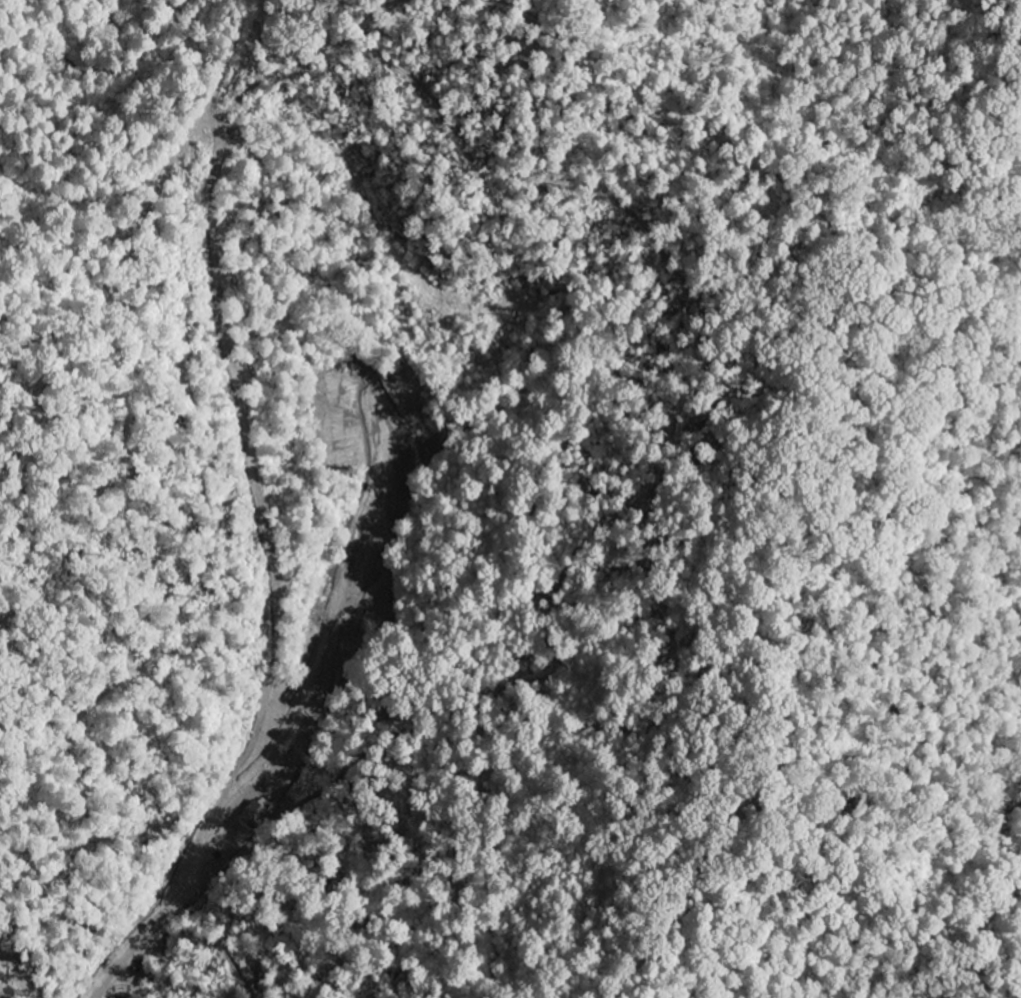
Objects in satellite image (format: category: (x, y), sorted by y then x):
road: (996, 955)

